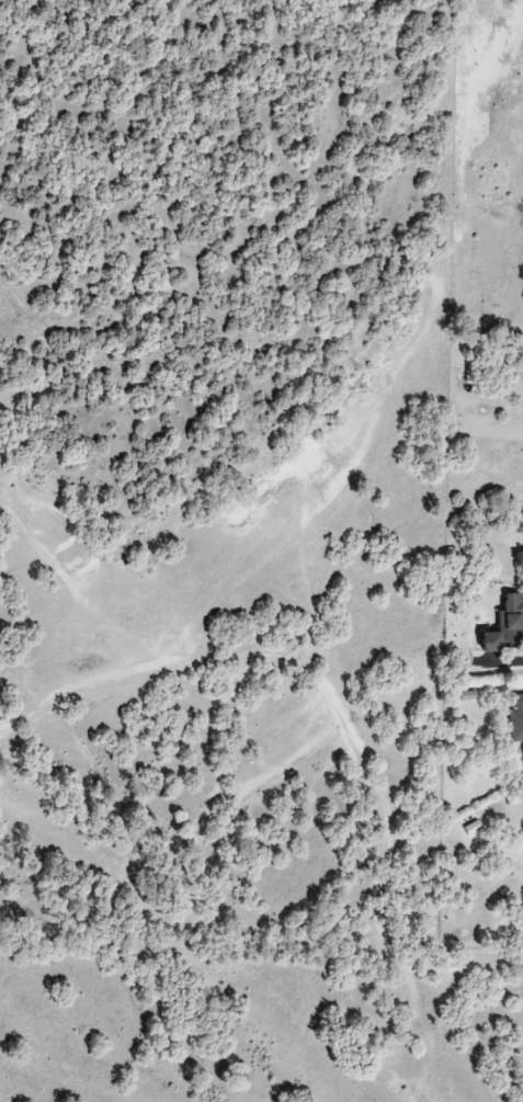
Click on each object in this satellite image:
road: (339, 723)

